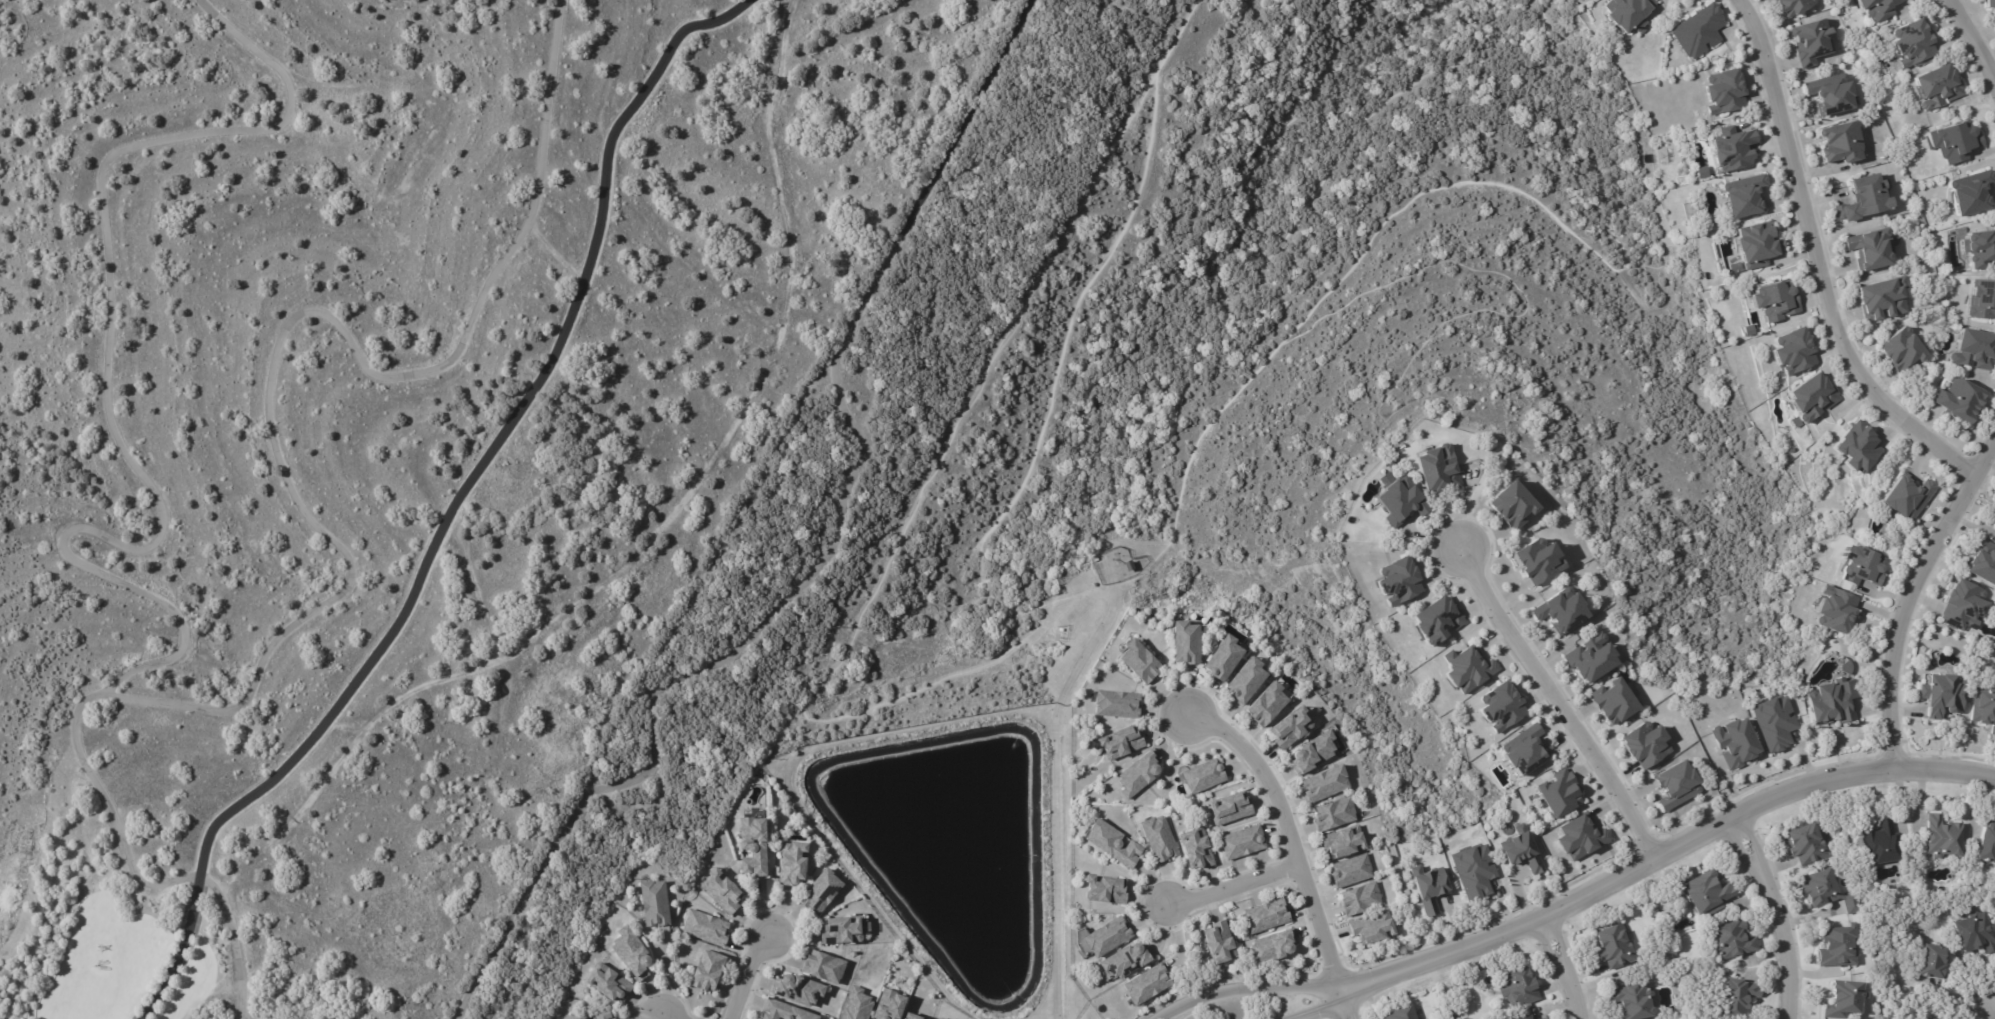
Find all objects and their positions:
building: (1776, 0)
building: (1990, 3)
building: (1795, 5)
building: (1877, 8)
building: (1628, 13)
building: (1699, 30)
building: (1812, 41)
building: (1914, 43)
road: (1973, 46)
road: (1992, 79)
building: (1938, 87)
building: (1725, 91)
building: (1832, 93)
building: (1955, 141)
building: (1842, 142)
building: (1733, 149)
building: (1703, 172)
building: (1970, 192)
building: (1744, 196)
building: (1867, 198)
building: (1757, 245)
building: (1980, 248)
building: (1873, 249)
road: (1814, 263)
building: (1736, 268)
building: (1883, 299)
building: (1982, 299)
building: (1775, 301)
building: (1751, 330)
building: (1975, 349)
building: (1905, 350)
building: (1793, 352)
building: (1811, 397)
building: (1960, 398)
road: (491, 445)
building: (1857, 447)
building: (1439, 470)
building: (1908, 496)
building: (1402, 501)
building: (1514, 505)
building: (1539, 560)
building: (1984, 562)
building: (1128, 566)
building: (1863, 567)
road: (621, 573)
building: (1400, 583)
road: (1911, 589)
building: (1964, 606)
building: (1836, 610)
building: (1562, 611)
building: (1437, 621)
building: (1061, 630)
building: (1185, 644)
building: (1592, 659)
building: (1224, 660)
building: (1139, 663)
building: (1847, 668)
building: (1468, 670)
building: (1246, 682)
building: (1942, 695)
road: (1550, 697)
building: (1615, 703)
building: (1835, 703)
building: (1116, 705)
building: (1266, 706)
building: (1503, 708)
building: (1984, 708)
building: (1776, 723)
building: (1289, 729)
building: (1735, 743)
building: (1120, 744)
building: (1646, 745)
building: (1526, 752)
building: (1312, 753)
building: (1137, 775)
building: (1204, 777)
building: (1324, 784)
building: (1677, 785)
building: (1559, 793)
building: (1229, 810)
building: (1333, 815)
road: (1286, 836)
building: (1945, 836)
building: (1581, 838)
building: (1158, 840)
road: (1664, 840)
building: (1882, 842)
building: (1807, 843)
building: (1242, 844)
building: (1113, 845)
building: (1986, 845)
building: (1342, 846)
building: (751, 847)
building: (1195, 849)
building: (1851, 849)
building: (1521, 851)
building: (790, 865)
building: (1351, 872)
building: (1474, 872)
road: (1228, 886)
building: (1429, 887)
building: (1105, 890)
building: (1828, 890)
building: (721, 891)
building: (1707, 892)
building: (820, 893)
building: (1360, 899)
building: (653, 905)
road: (1787, 906)
building: (1266, 917)
building: (706, 928)
building: (1975, 931)
building: (840, 932)
building: (1371, 932)
building: (1106, 939)
building: (1733, 940)
building: (1219, 944)
building: (1616, 946)
building: (1839, 946)
building: (1272, 948)
building: (632, 954)
road: (1573, 957)
building: (1934, 961)
building: (1126, 962)
building: (823, 968)
road: (745, 971)
building: (706, 973)
building: (607, 985)
building: (1146, 986)
building: (1519, 986)
road: (1252, 987)
building: (798, 989)
building: (1739, 995)
building: (1844, 999)
building: (1633, 1000)
road: (1329, 1003)
road: (1353, 1003)
building: (856, 1005)
building: (888, 1006)
road: (1957, 1006)
building: (783, 1011)
building: (1399, 1013)
building: (602, 1015)
road: (659, 1015)
building: (909, 1017)
building: (924, 1017)
building: (1521, 1017)
building: (585, 1018)
building: (938, 1018)
building: (1541, 1018)
building: (1547, 1018)

